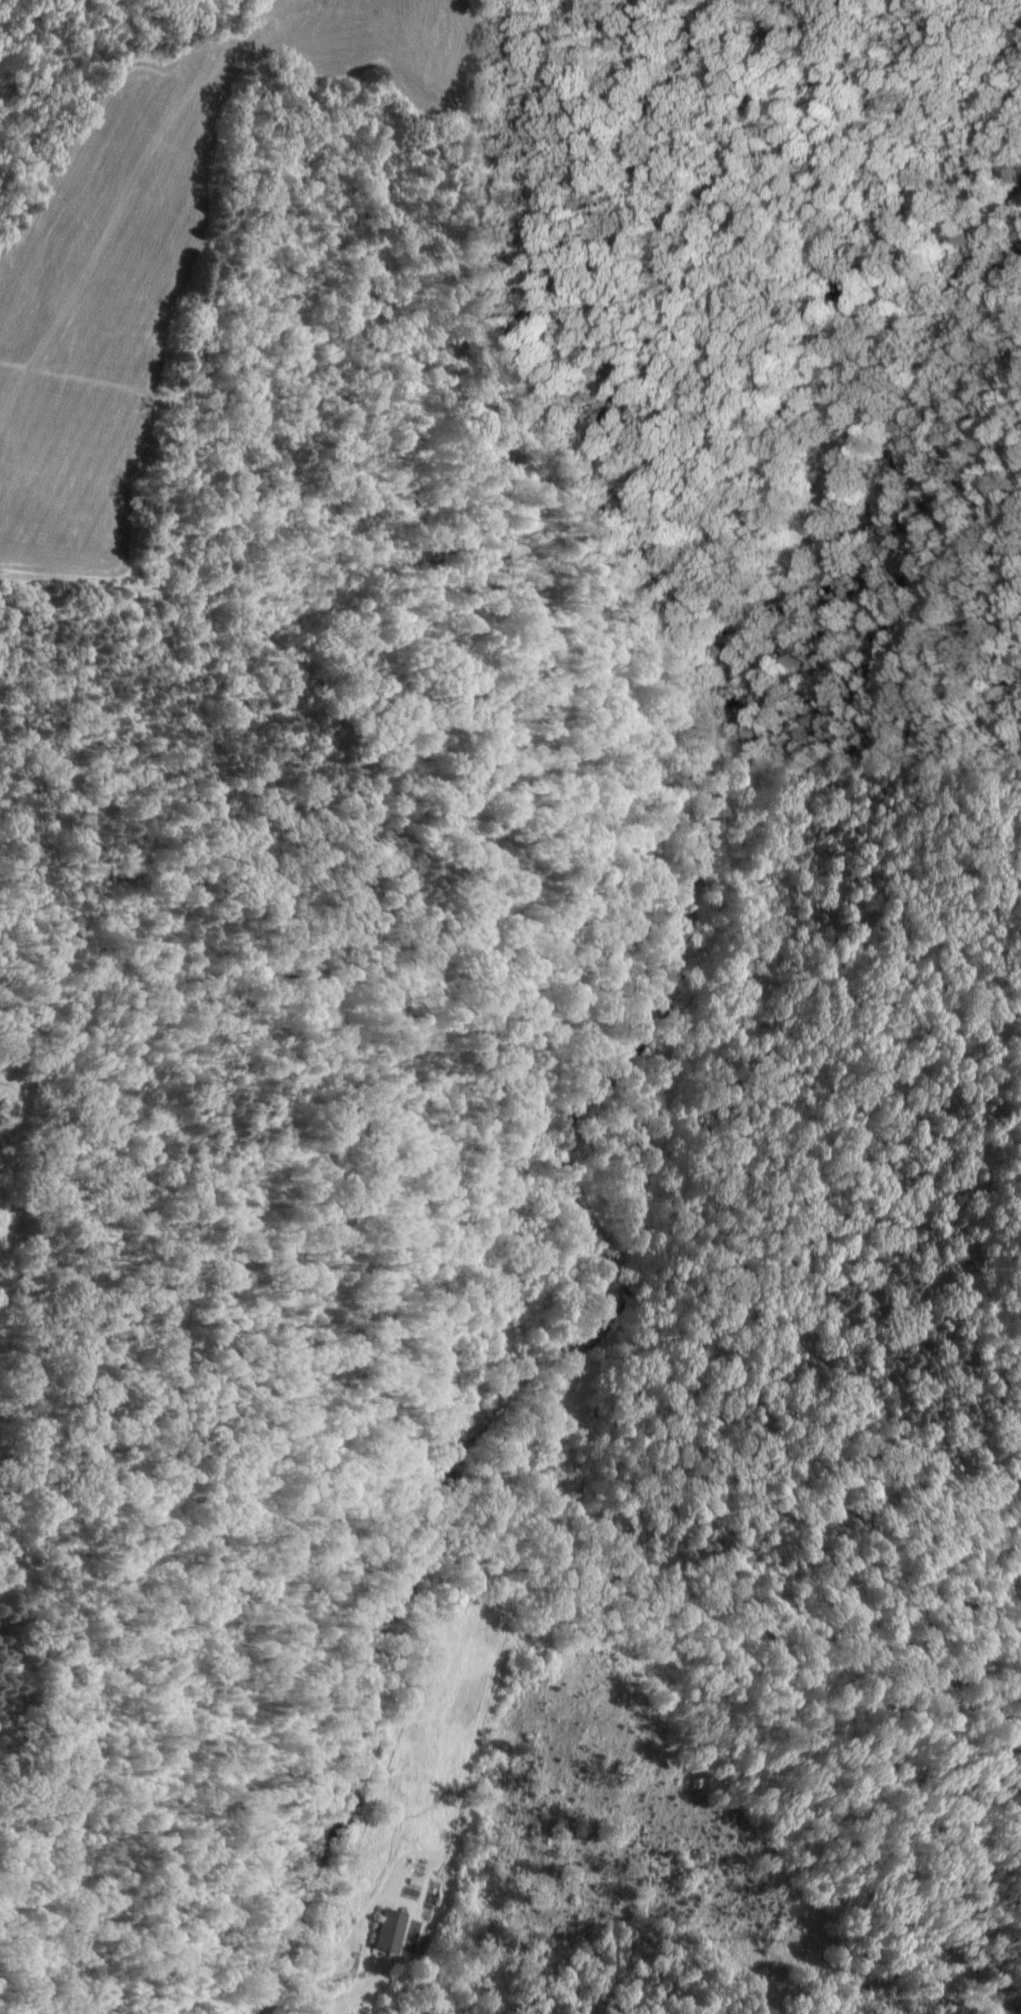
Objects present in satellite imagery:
building: (386, 1934)
road: (337, 1995)

